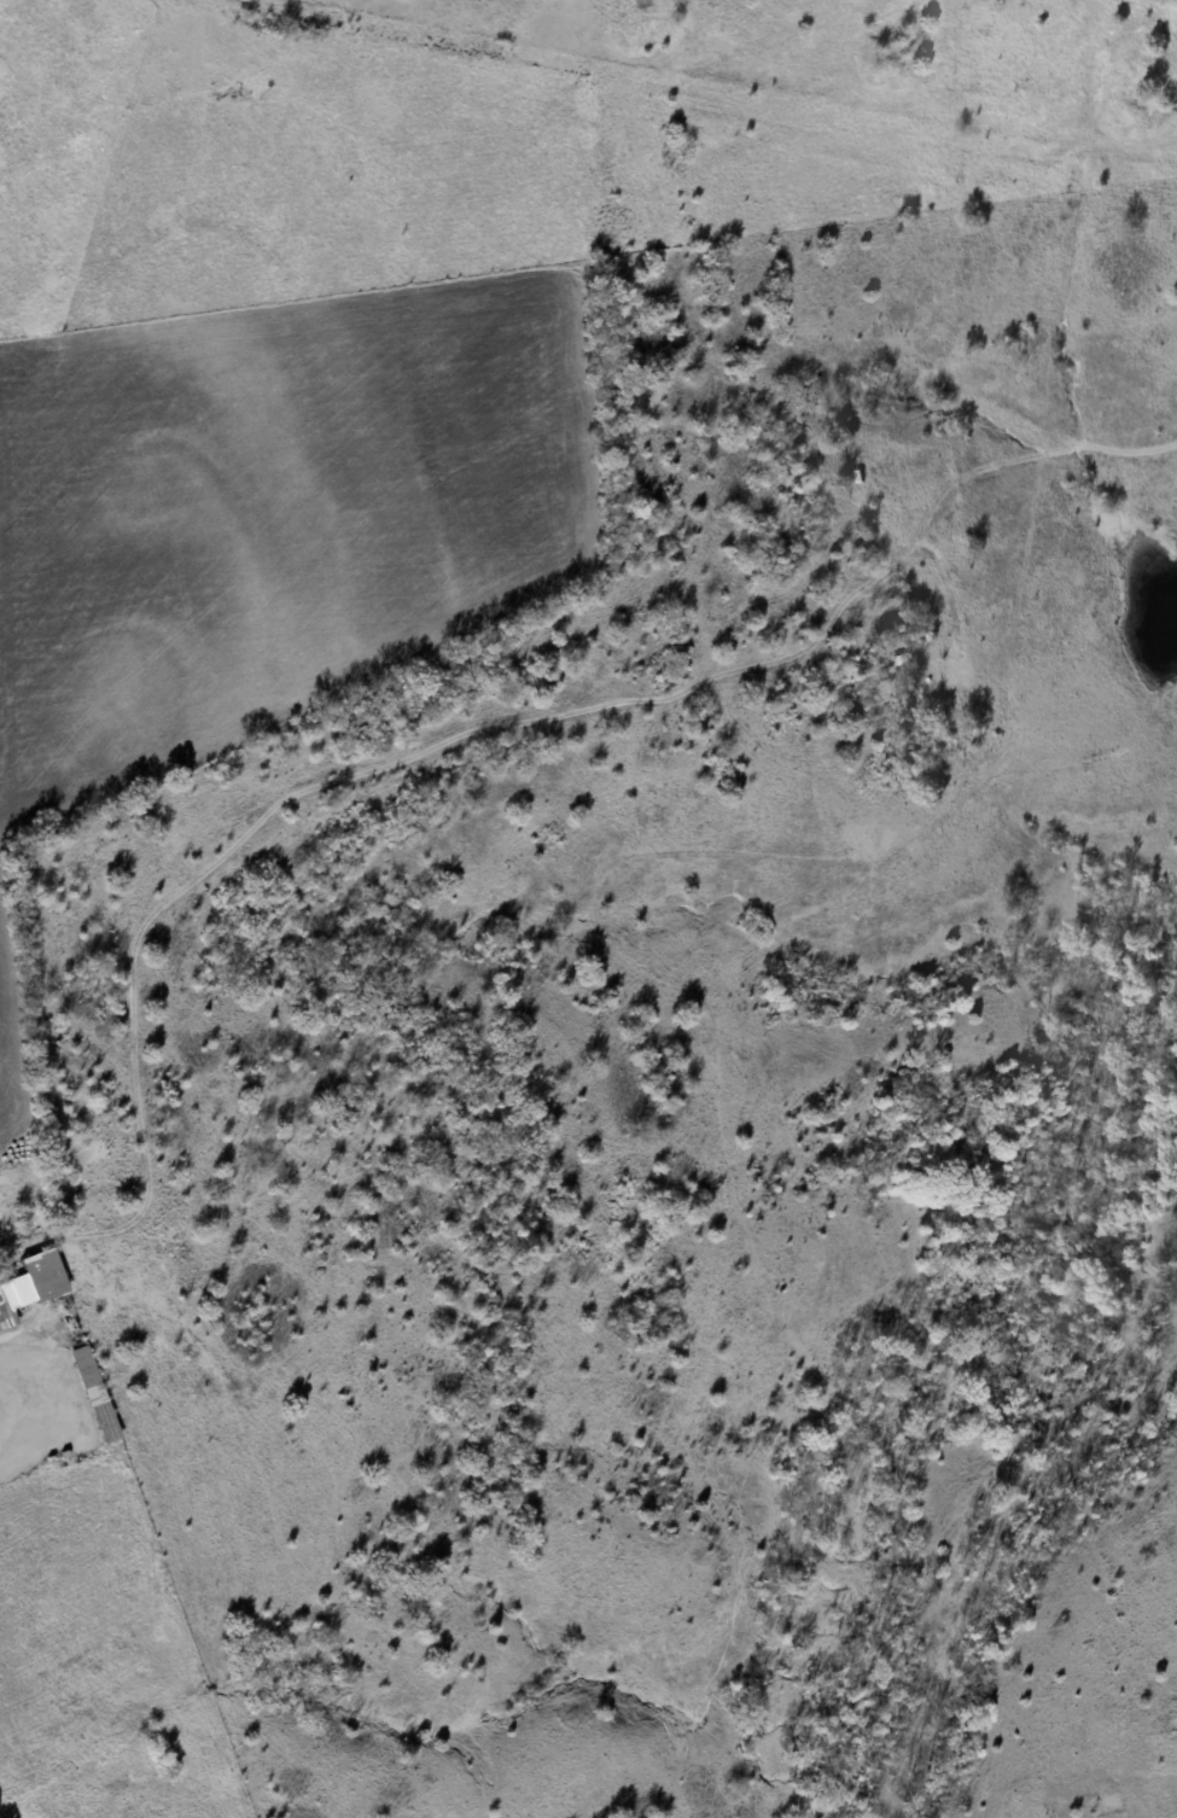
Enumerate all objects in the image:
building: (30, 1286)
building: (94, 1395)

